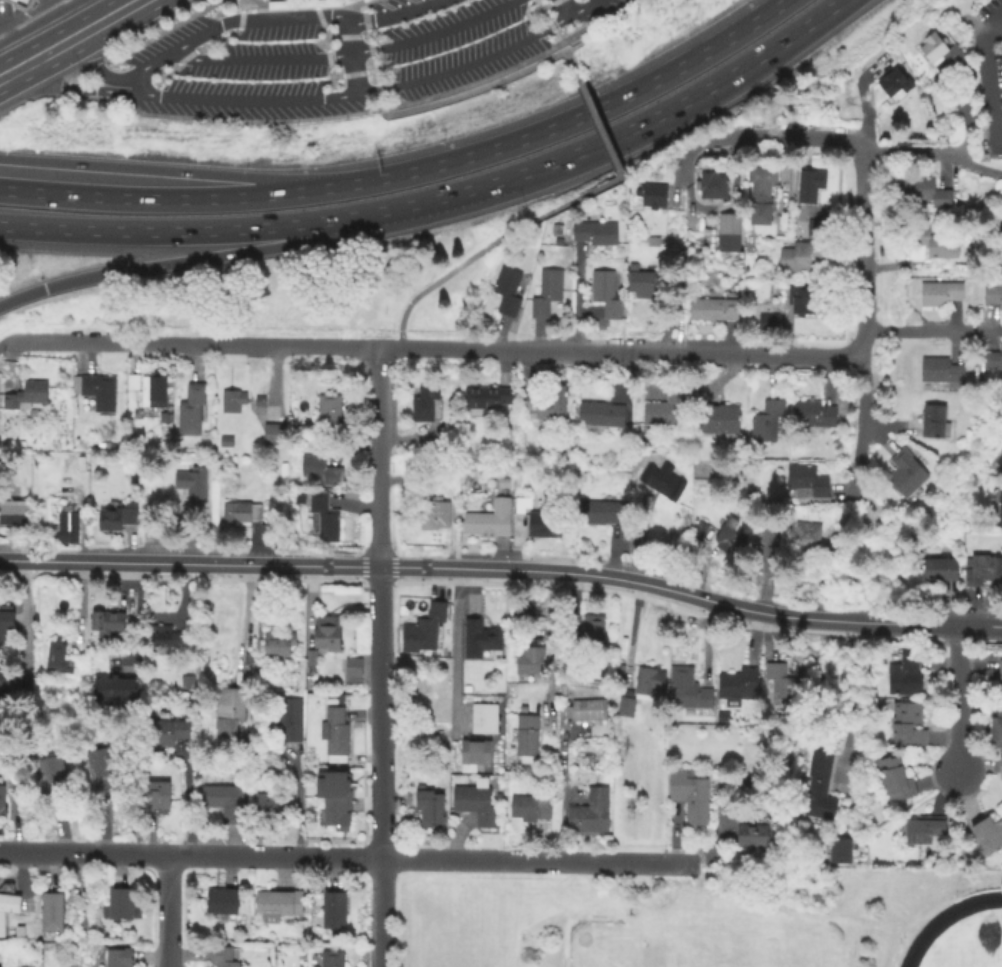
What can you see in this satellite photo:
road: (305, 1)
building: (366, 1)
road: (364, 2)
road: (260, 3)
building: (301, 3)
building: (20, 4)
road: (135, 4)
road: (356, 4)
road: (563, 6)
road: (91, 12)
parking lot: (4, 15)
road: (240, 19)
road: (103, 22)
road: (548, 22)
road: (432, 32)
road: (147, 41)
road: (566, 41)
road: (582, 41)
road: (13, 43)
road: (61, 46)
road: (568, 51)
building: (941, 51)
road: (349, 54)
road: (372, 54)
parking lot: (347, 57)
road: (262, 60)
road: (21, 68)
road: (986, 78)
road: (135, 82)
building: (896, 82)
road: (471, 93)
road: (306, 98)
road: (674, 103)
road: (594, 115)
road: (574, 116)
road: (963, 117)
road: (865, 147)
road: (173, 170)
building: (811, 186)
building: (715, 187)
building: (928, 191)
building: (764, 195)
building: (655, 196)
road: (173, 197)
road: (249, 227)
building: (810, 227)
building: (819, 228)
building: (598, 233)
building: (730, 233)
building: (655, 242)
road: (492, 243)
building: (938, 243)
road: (249, 252)
building: (804, 256)
building: (771, 275)
road: (865, 276)
building: (647, 282)
building: (509, 292)
building: (549, 294)
building: (607, 294)
building: (940, 294)
building: (993, 294)
building: (803, 300)
building: (717, 308)
building: (770, 323)
road: (933, 329)
road: (199, 346)
road: (390, 348)
road: (633, 353)
building: (993, 361)
building: (942, 370)
building: (134, 382)
building: (101, 392)
building: (155, 392)
building: (28, 397)
building: (487, 398)
building: (234, 401)
building: (262, 402)
building: (427, 404)
building: (549, 404)
building: (193, 410)
building: (665, 410)
building: (330, 414)
building: (603, 414)
building: (815, 414)
building: (165, 418)
building: (722, 420)
building: (768, 421)
building: (935, 421)
building: (507, 424)
building: (275, 435)
building: (322, 471)
building: (907, 473)
building: (664, 482)
building: (193, 483)
building: (505, 484)
building: (809, 484)
building: (14, 513)
building: (243, 513)
building: (605, 513)
building: (439, 514)
building: (1001, 515)
building: (325, 517)
building: (119, 520)
building: (490, 521)
building: (539, 521)
building: (68, 524)
building: (881, 525)
building: (702, 529)
building: (729, 536)
building: (810, 536)
building: (770, 551)
road: (379, 556)
road: (435, 569)
building: (943, 570)
building: (982, 570)
building: (525, 612)
road: (23, 619)
building: (6, 624)
building: (108, 624)
road: (934, 625)
building: (431, 627)
building: (594, 632)
building: (329, 634)
building: (167, 640)
building: (481, 640)
road: (551, 642)
building: (278, 645)
building: (565, 649)
road: (457, 650)
building: (59, 659)
building: (312, 659)
building: (530, 664)
building: (573, 664)
building: (353, 673)
building: (906, 673)
building: (785, 683)
building: (1001, 683)
building: (6, 684)
building: (649, 684)
building: (741, 686)
building: (115, 690)
building: (688, 690)
building: (333, 697)
road: (958, 699)
building: (628, 708)
building: (587, 710)
building: (231, 717)
building: (724, 718)
building: (485, 719)
building: (292, 721)
building: (908, 726)
road: (848, 728)
building: (997, 728)
building: (167, 733)
building: (337, 735)
building: (529, 736)
building: (476, 752)
building: (1000, 767)
building: (102, 771)
building: (54, 778)
building: (513, 778)
building: (896, 780)
building: (821, 788)
building: (158, 796)
building: (692, 797)
building: (3, 800)
building: (225, 802)
building: (477, 803)
building: (268, 806)
building: (532, 809)
building: (431, 810)
building: (336, 811)
road: (381, 811)
building: (592, 814)
building: (753, 832)
building: (926, 833)
building: (989, 836)
building: (841, 852)
road: (150, 856)
road: (342, 859)
road: (535, 862)
building: (312, 889)
building: (224, 902)
building: (280, 905)
building: (8, 906)
building: (124, 906)
road: (171, 912)
building: (334, 912)
building: (53, 913)
road: (382, 913)
track: (963, 937)
park: (699, 940)
building: (224, 957)
building: (119, 958)
building: (333, 959)
park: (966, 963)

